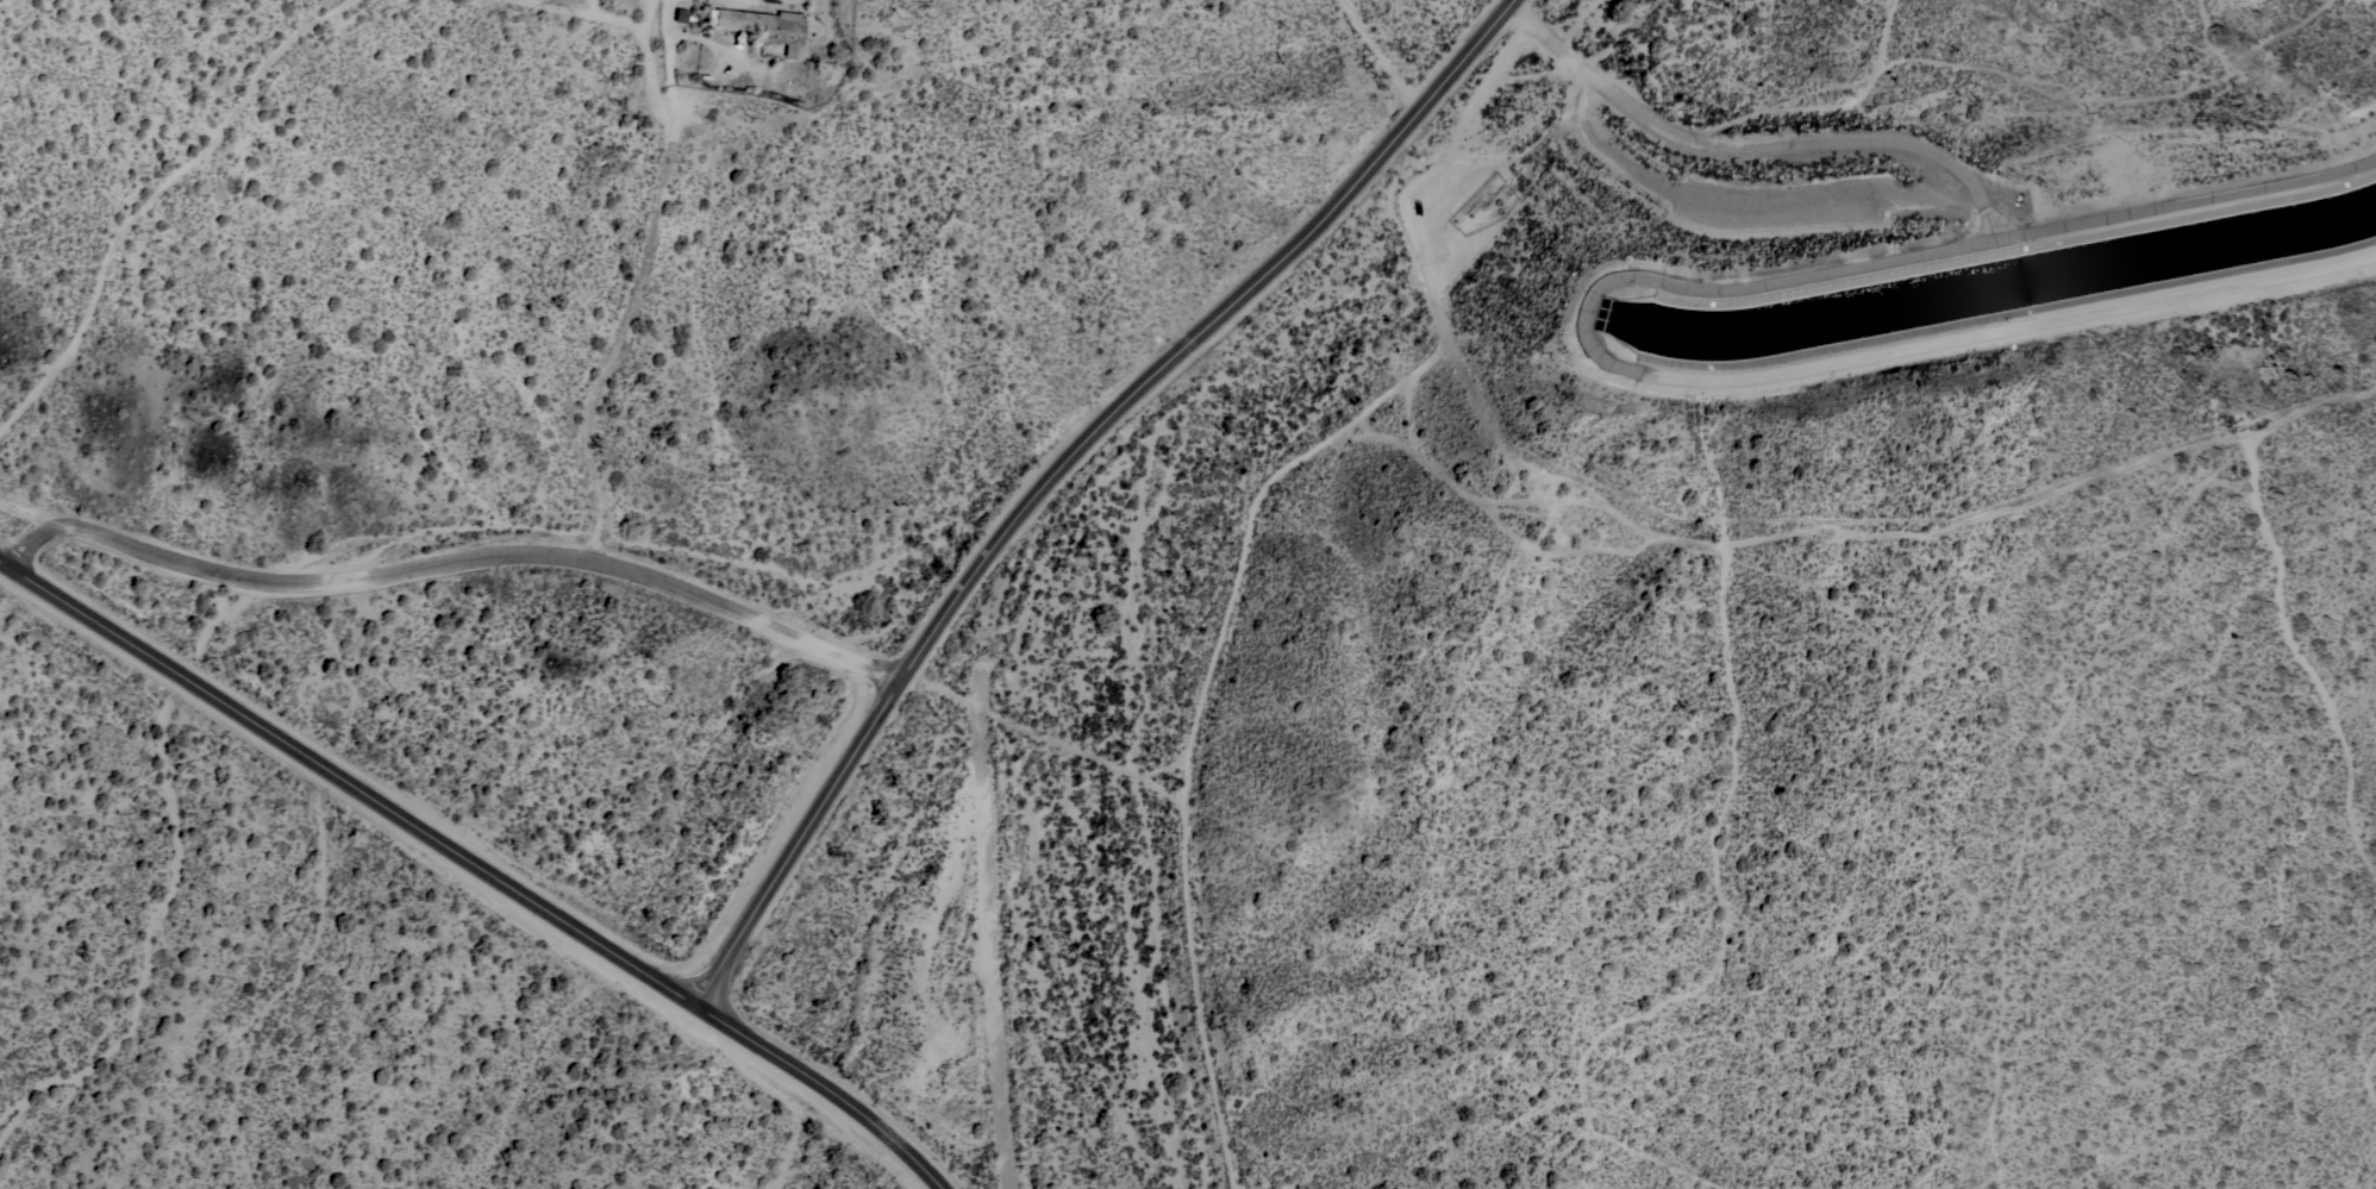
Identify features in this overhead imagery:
building: (681, 15)
building: (764, 26)
road: (634, 29)
road: (150, 199)
road: (638, 293)
road: (1061, 465)
road: (36, 512)
road: (456, 561)
road: (348, 782)
road: (825, 1087)

